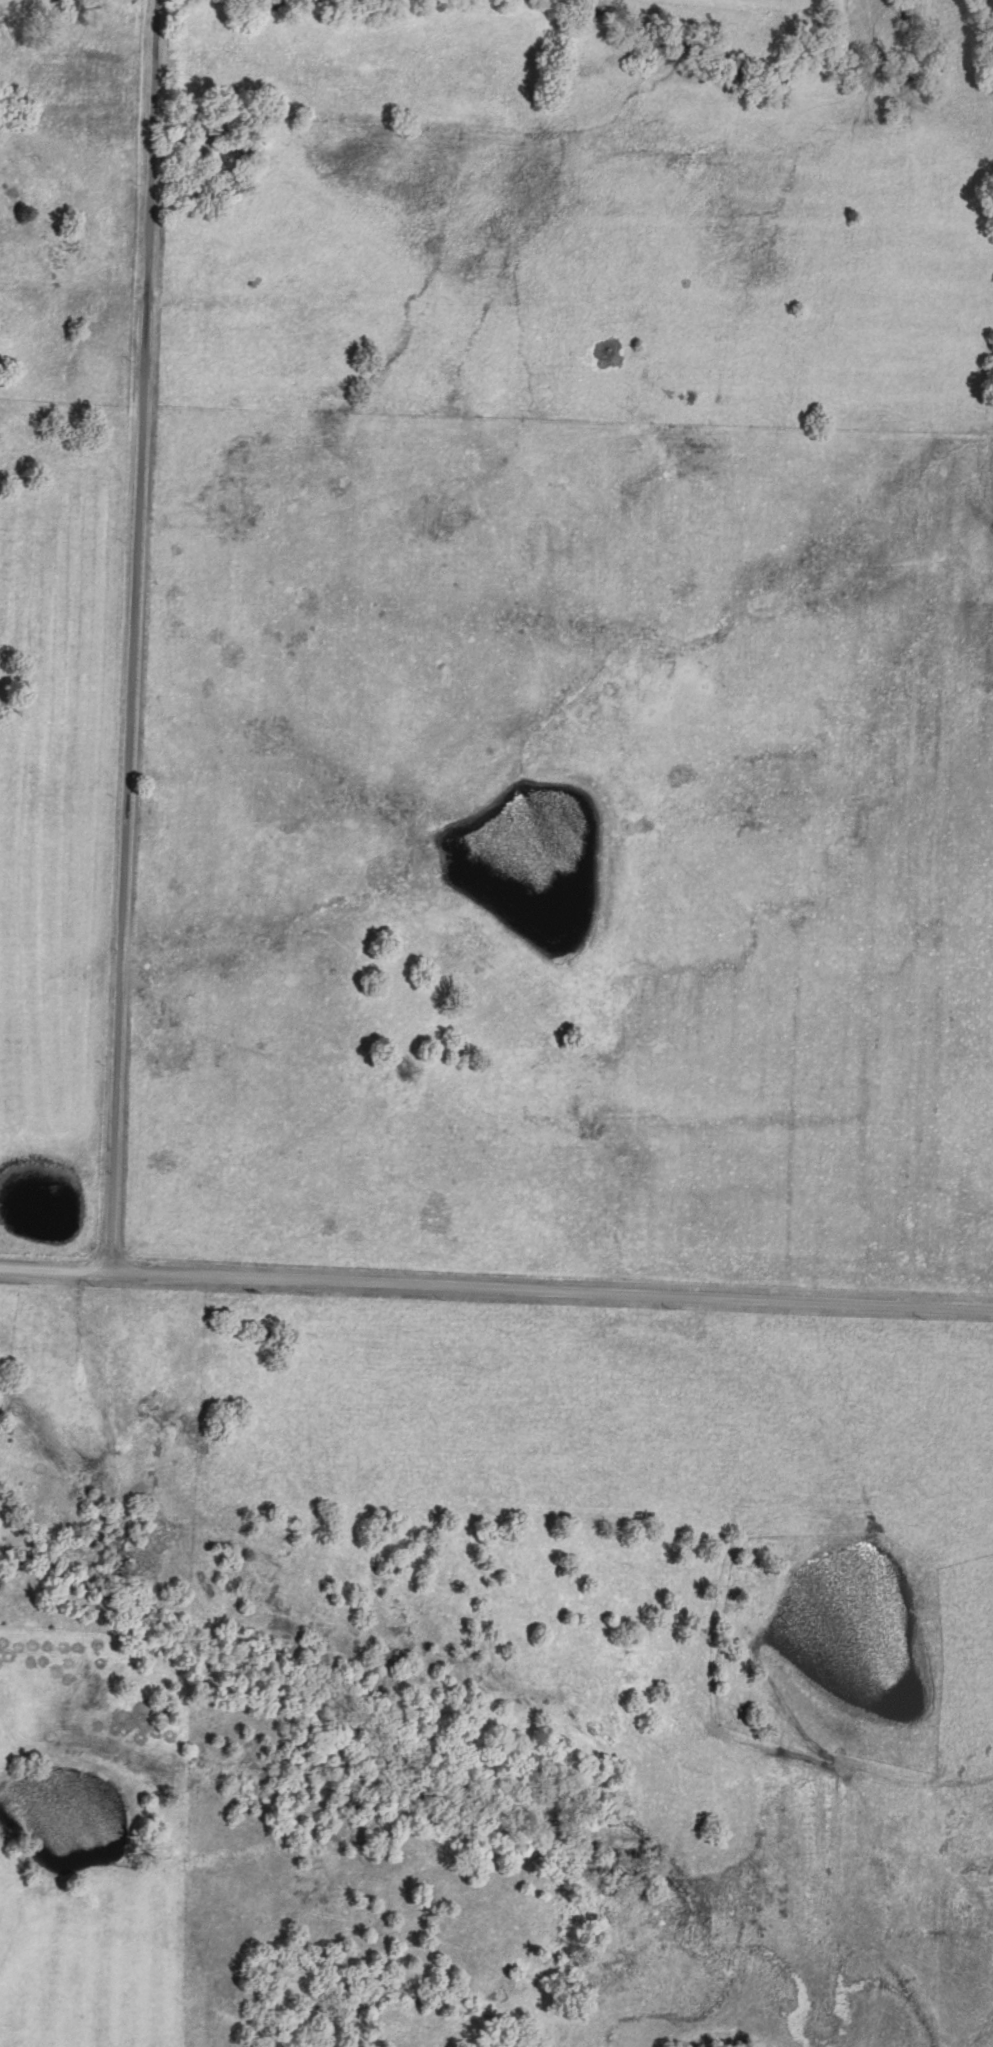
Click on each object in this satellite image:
road: (134, 636)
road: (496, 1287)

